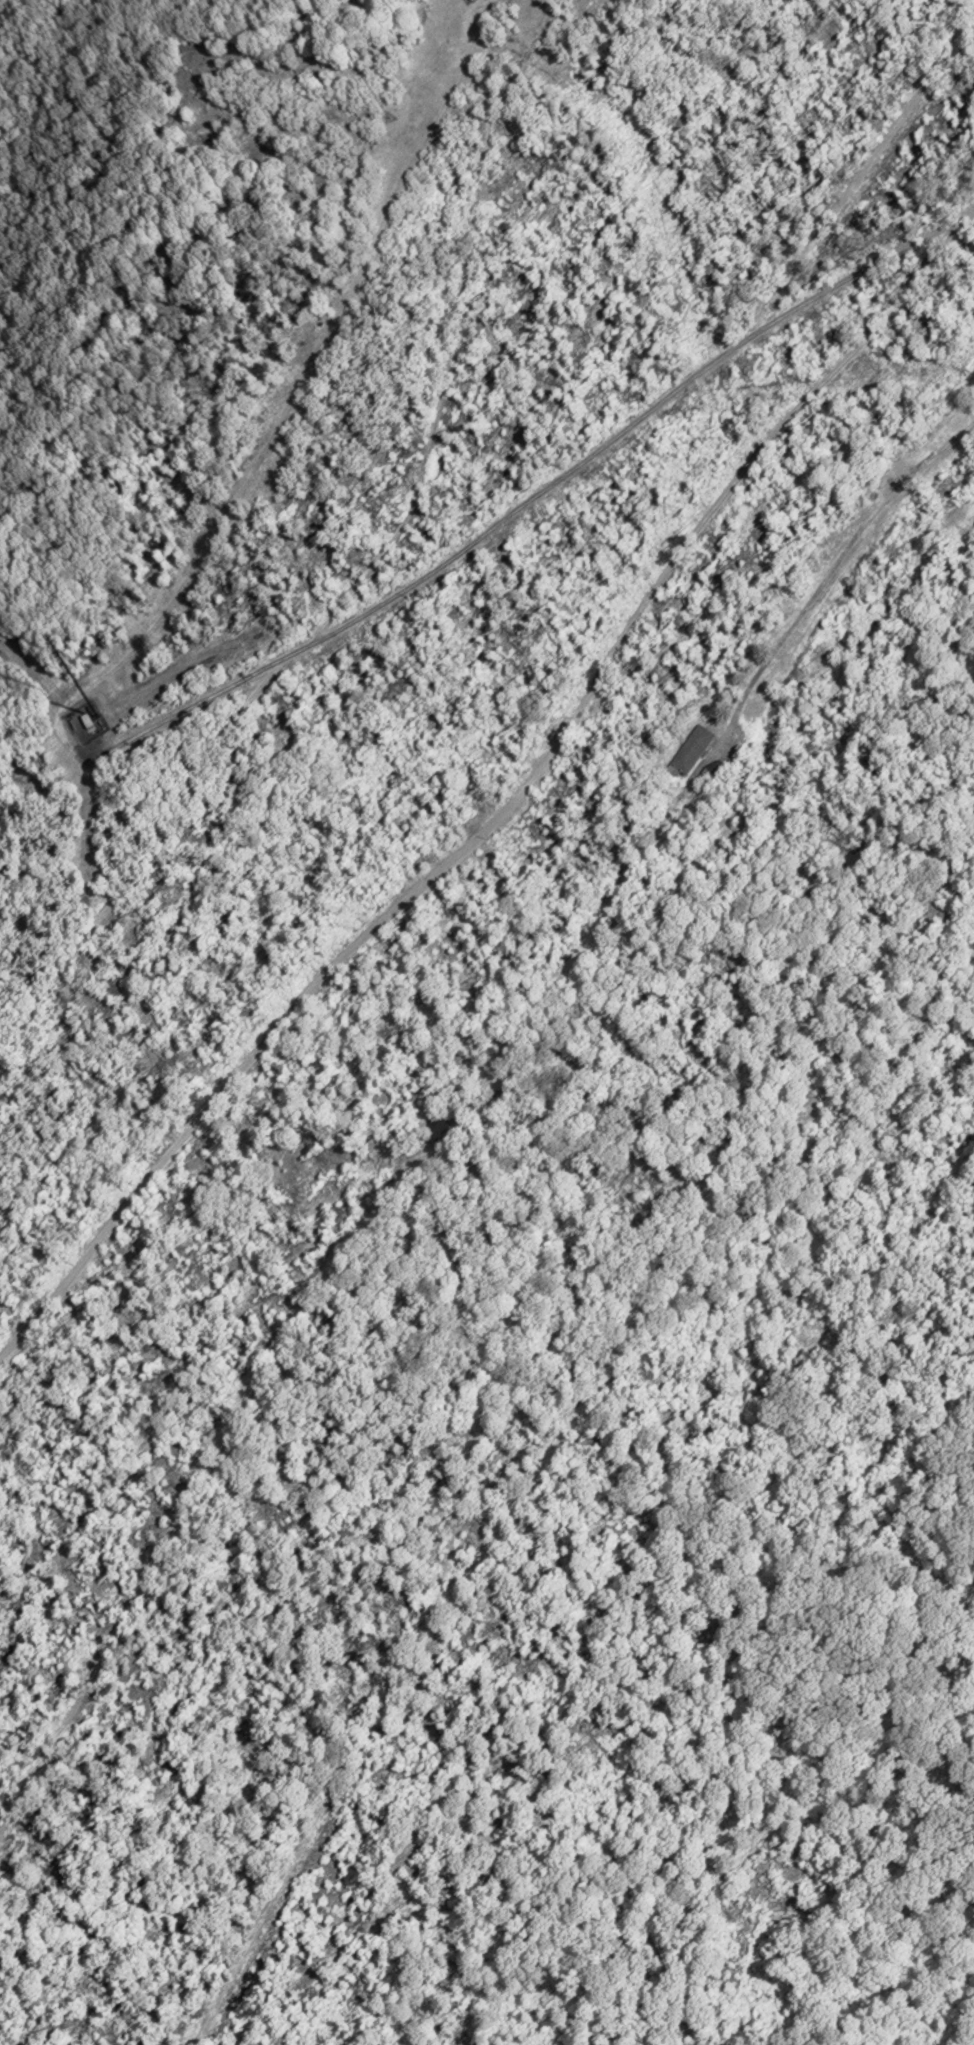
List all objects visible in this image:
road: (883, 522)

